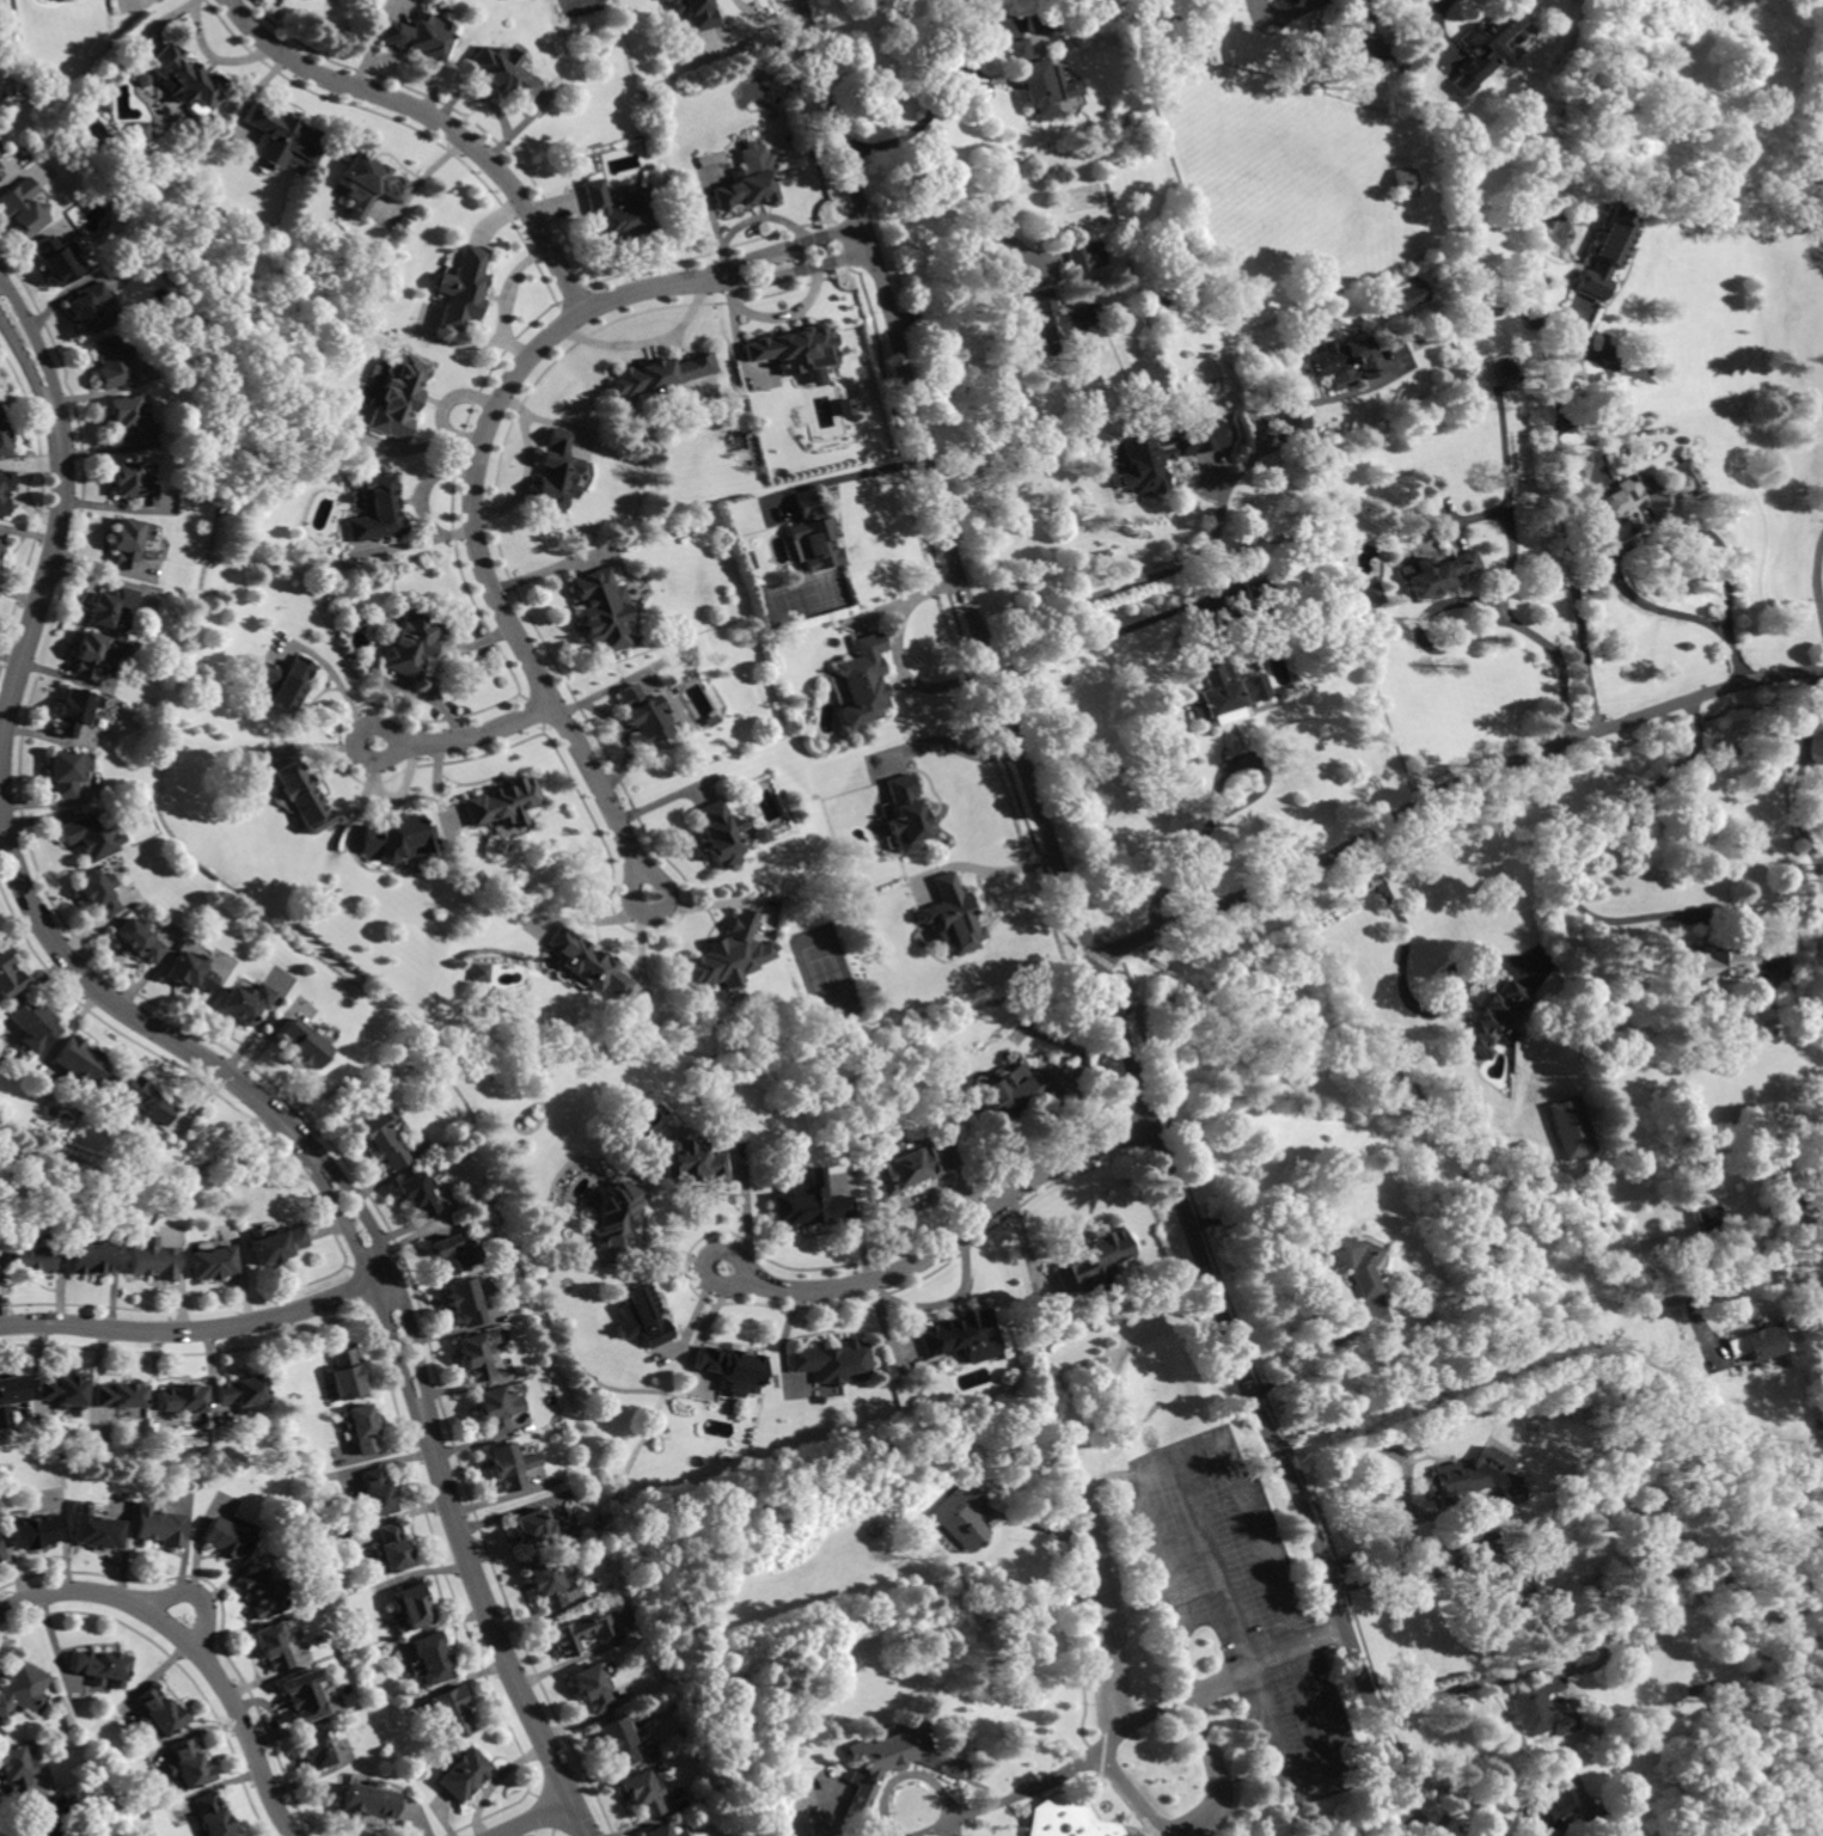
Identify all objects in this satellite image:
building: (1059, 2)
building: (697, 13)
road: (769, 19)
building: (1039, 22)
road: (1438, 25)
building: (418, 36)
building: (1487, 43)
building: (1366, 54)
building: (1252, 57)
building: (503, 73)
building: (186, 78)
building: (143, 79)
building: (1041, 81)
road: (438, 120)
road: (916, 127)
building: (136, 130)
building: (286, 136)
building: (1, 173)
building: (369, 180)
building: (1401, 183)
building: (746, 186)
building: (23, 208)
building: (618, 212)
building: (1547, 222)
building: (1806, 225)
building: (1605, 252)
building: (1087, 253)
building: (55, 261)
road: (959, 265)
road: (728, 288)
building: (1091, 288)
building: (464, 289)
road: (498, 293)
building: (1408, 296)
building: (88, 310)
road: (793, 310)
building: (1535, 319)
building: (1059, 320)
road: (647, 339)
building: (794, 349)
road: (738, 351)
building: (109, 362)
building: (1344, 362)
building: (660, 375)
building: (1504, 375)
building: (398, 398)
building: (818, 404)
building: (126, 417)
road: (550, 422)
building: (1298, 435)
building: (1199, 439)
building: (2, 441)
road: (479, 457)
building: (1142, 460)
building: (1576, 470)
building: (556, 472)
road: (524, 475)
road: (840, 476)
building: (133, 483)
building: (5, 492)
building: (349, 498)
building: (1644, 500)
building: (378, 510)
road: (1512, 527)
road: (1216, 528)
road: (59, 530)
road: (1658, 530)
building: (809, 534)
building: (129, 541)
building: (0, 543)
road: (1564, 544)
building: (1439, 573)
road: (1817, 576)
building: (1369, 593)
building: (1258, 594)
building: (110, 606)
building: (600, 611)
road: (1113, 632)
road: (1543, 641)
building: (412, 642)
building: (91, 654)
road: (894, 656)
building: (861, 680)
building: (288, 685)
building: (1222, 688)
road: (570, 706)
building: (75, 710)
road: (602, 714)
building: (642, 714)
road: (1811, 715)
road: (466, 736)
road: (953, 746)
building: (1733, 752)
road: (1813, 769)
building: (66, 772)
road: (1448, 788)
building: (302, 796)
building: (500, 802)
building: (905, 814)
road: (1797, 814)
building: (720, 834)
building: (91, 836)
building: (761, 837)
building: (400, 839)
road: (1195, 845)
road: (1580, 846)
road: (997, 869)
building: (96, 893)
building: (953, 916)
road: (1082, 926)
building: (137, 940)
building: (728, 955)
building: (1709, 962)
building: (587, 965)
building: (190, 972)
building: (478, 973)
building: (8, 978)
road: (1401, 980)
road: (1798, 994)
building: (245, 1002)
building: (1588, 1003)
building: (1494, 1017)
building: (33, 1023)
building: (1571, 1029)
building: (300, 1045)
building: (79, 1065)
building: (1018, 1091)
building: (136, 1096)
building: (532, 1119)
building: (850, 1125)
building: (1570, 1126)
building: (381, 1142)
building: (1699, 1145)
building: (1816, 1155)
building: (687, 1161)
building: (904, 1169)
building: (416, 1193)
building: (1790, 1199)
building: (807, 1204)
building: (614, 1216)
building: (1706, 1219)
building: (1800, 1229)
road: (947, 1241)
building: (275, 1244)
building: (454, 1255)
building: (31, 1257)
building: (90, 1259)
building: (1094, 1259)
building: (1345, 1260)
building: (153, 1262)
building: (212, 1262)
road: (380, 1267)
road: (1764, 1280)
road: (1328, 1293)
building: (464, 1302)
building: (647, 1316)
road: (196, 1328)
building: (962, 1338)
building: (1757, 1344)
building: (476, 1355)
building: (833, 1361)
building: (733, 1369)
building: (1407, 1370)
building: (344, 1376)
building: (241, 1391)
building: (63, 1393)
building: (11, 1396)
building: (121, 1396)
building: (183, 1400)
building: (820, 1400)
building: (493, 1409)
building: (360, 1428)
building: (1819, 1432)
road: (1369, 1439)
building: (1822, 1445)
building: (512, 1463)
building: (1472, 1479)
building: (375, 1495)
building: (961, 1514)
building: (160, 1526)
road: (1405, 1526)
building: (540, 1530)
building: (36, 1531)
building: (98, 1531)
building: (226, 1537)
building: (2, 1552)
building: (391, 1552)
building: (546, 1584)
building: (1497, 1591)
building: (261, 1593)
road: (1180, 1602)
building: (412, 1606)
building: (582, 1633)
building: (1572, 1645)
building: (271, 1646)
road: (192, 1647)
road: (1277, 1652)
building: (434, 1658)
building: (100, 1666)
road: (1109, 1670)
building: (20, 1687)
building: (593, 1689)
road: (1451, 1691)
building: (304, 1695)
building: (1537, 1708)
building: (158, 1712)
building: (453, 1712)
building: (617, 1740)
building: (314, 1750)
building: (894, 1762)
building: (188, 1765)
building: (16, 1769)
building: (464, 1773)
road: (1218, 1783)
building: (643, 1793)
building: (771, 1795)
building: (368, 1800)
building: (775, 1804)
building: (1549, 1811)
building: (212, 1816)
road: (533, 1817)
building: (1068, 1818)
building: (48, 1819)
road: (937, 1825)
building: (1603, 1829)
building: (662, 1831)

